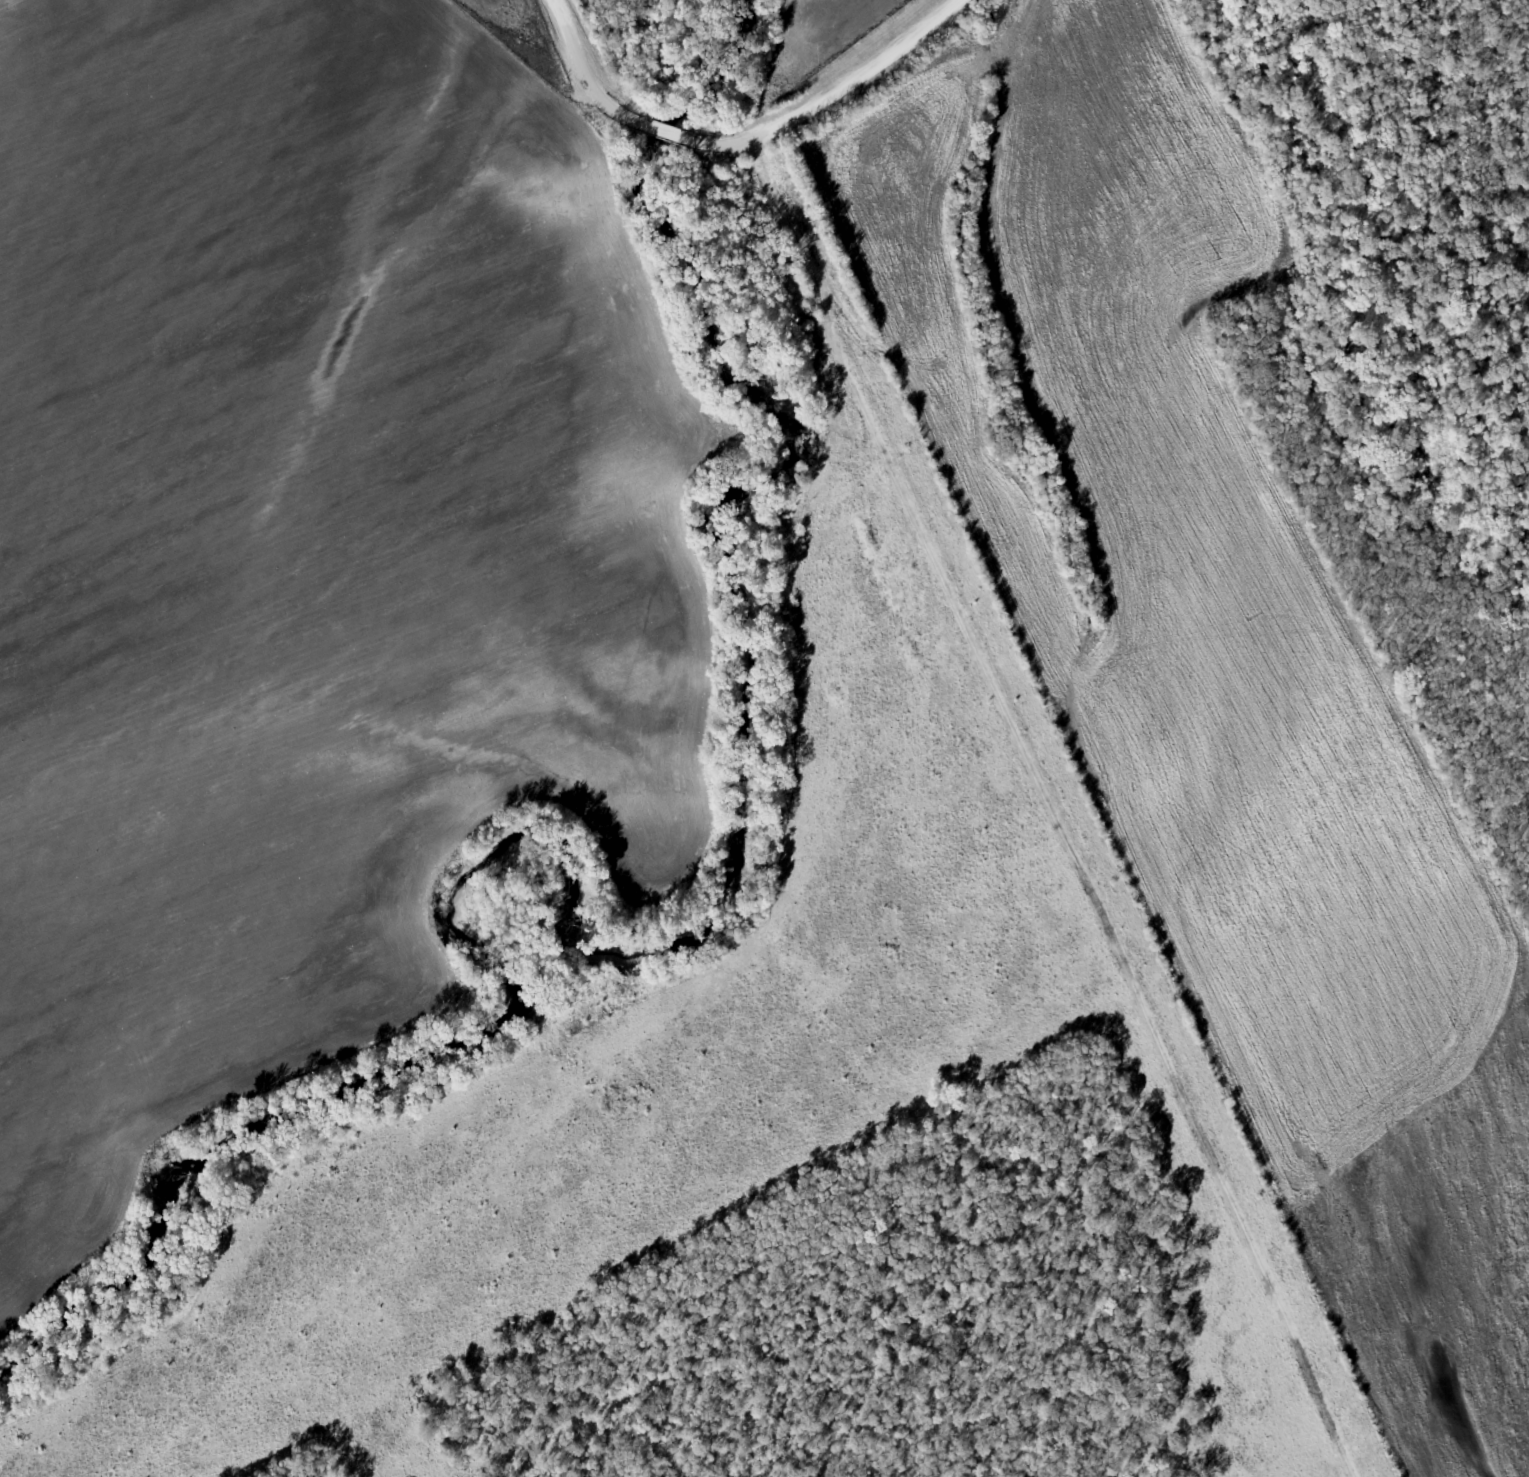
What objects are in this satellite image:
road: (584, 73)
road: (827, 96)
road: (664, 131)

